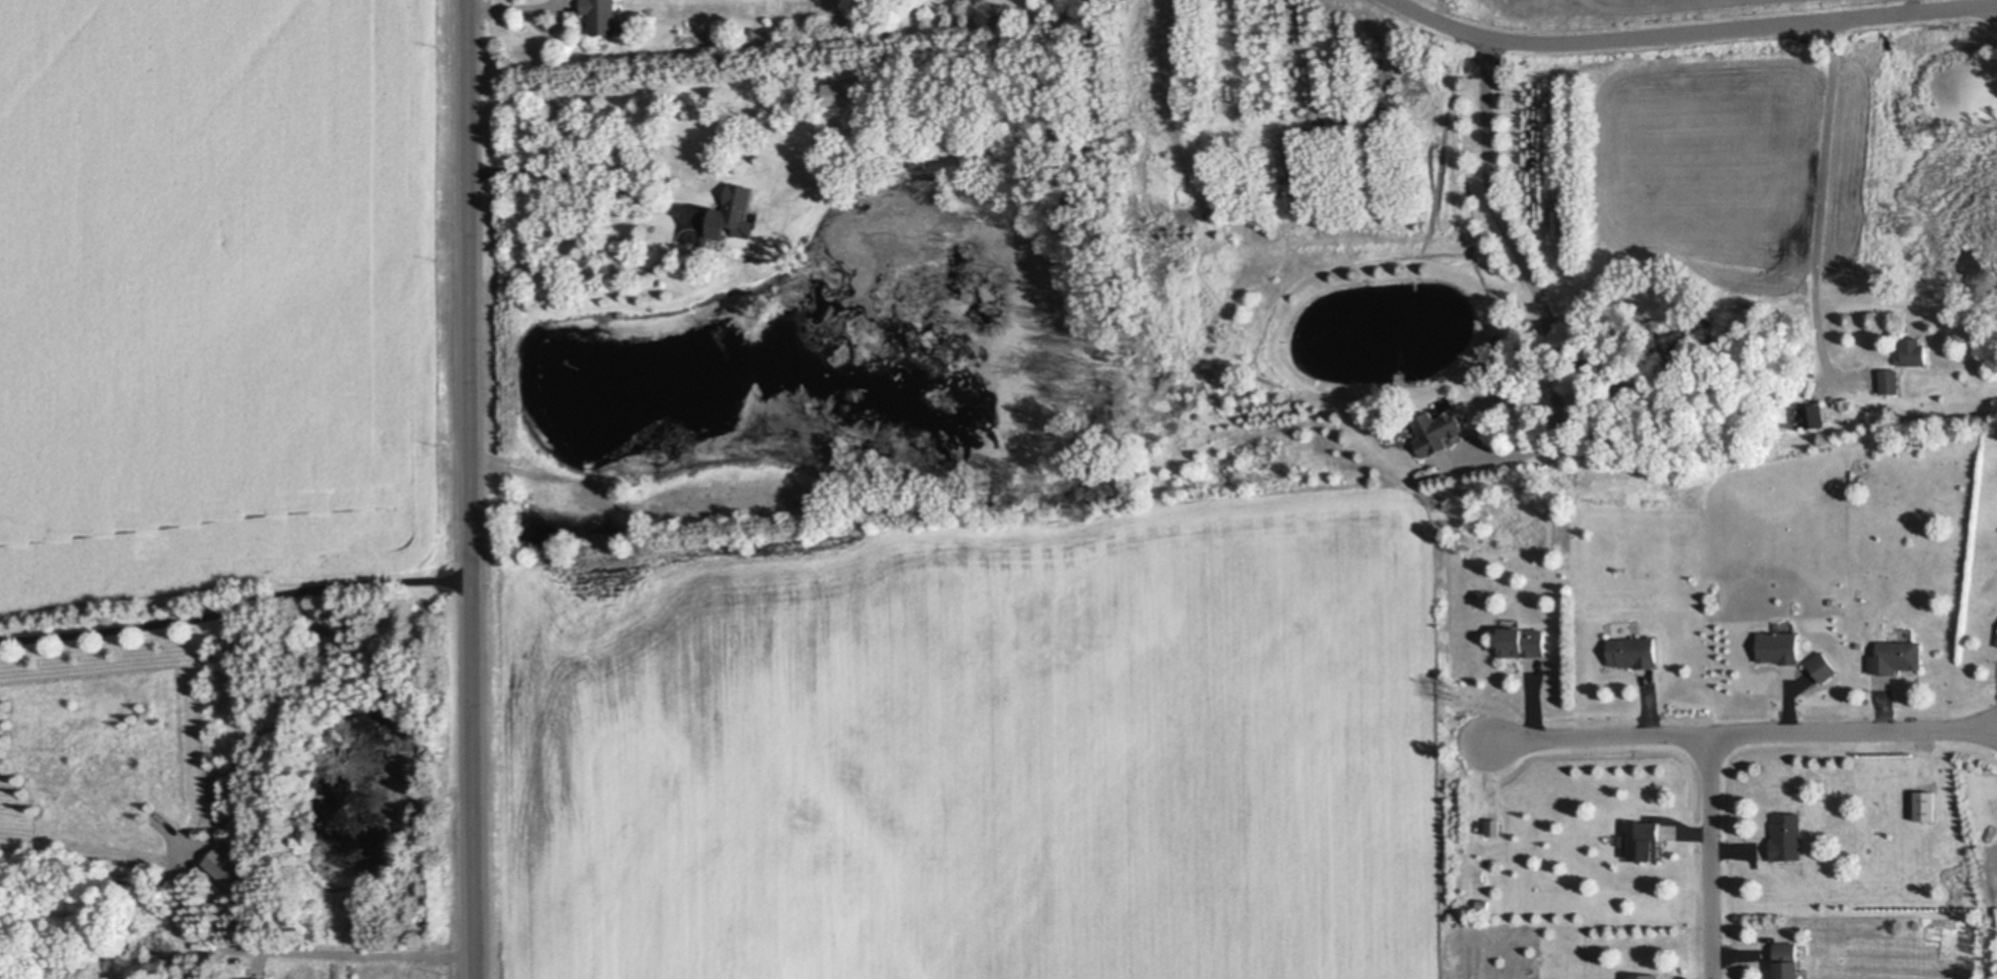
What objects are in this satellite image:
road: (547, 6)
building: (602, 16)
road: (1692, 31)
building: (845, 92)
building: (941, 154)
building: (920, 164)
road: (583, 179)
road: (1822, 194)
building: (732, 213)
road: (1529, 271)
building: (1915, 351)
building: (1890, 380)
building: (1814, 415)
building: (1436, 430)
road: (471, 489)
road: (236, 607)
building: (1525, 642)
building: (1780, 647)
building: (1635, 652)
building: (1897, 657)
building: (1824, 668)
road: (1853, 731)
road: (1710, 745)
building: (1927, 805)
building: (1494, 828)
building: (1788, 837)
building: (1646, 841)
building: (227, 866)
road: (320, 951)
building: (1788, 961)
building: (1648, 976)
building: (264, 978)

